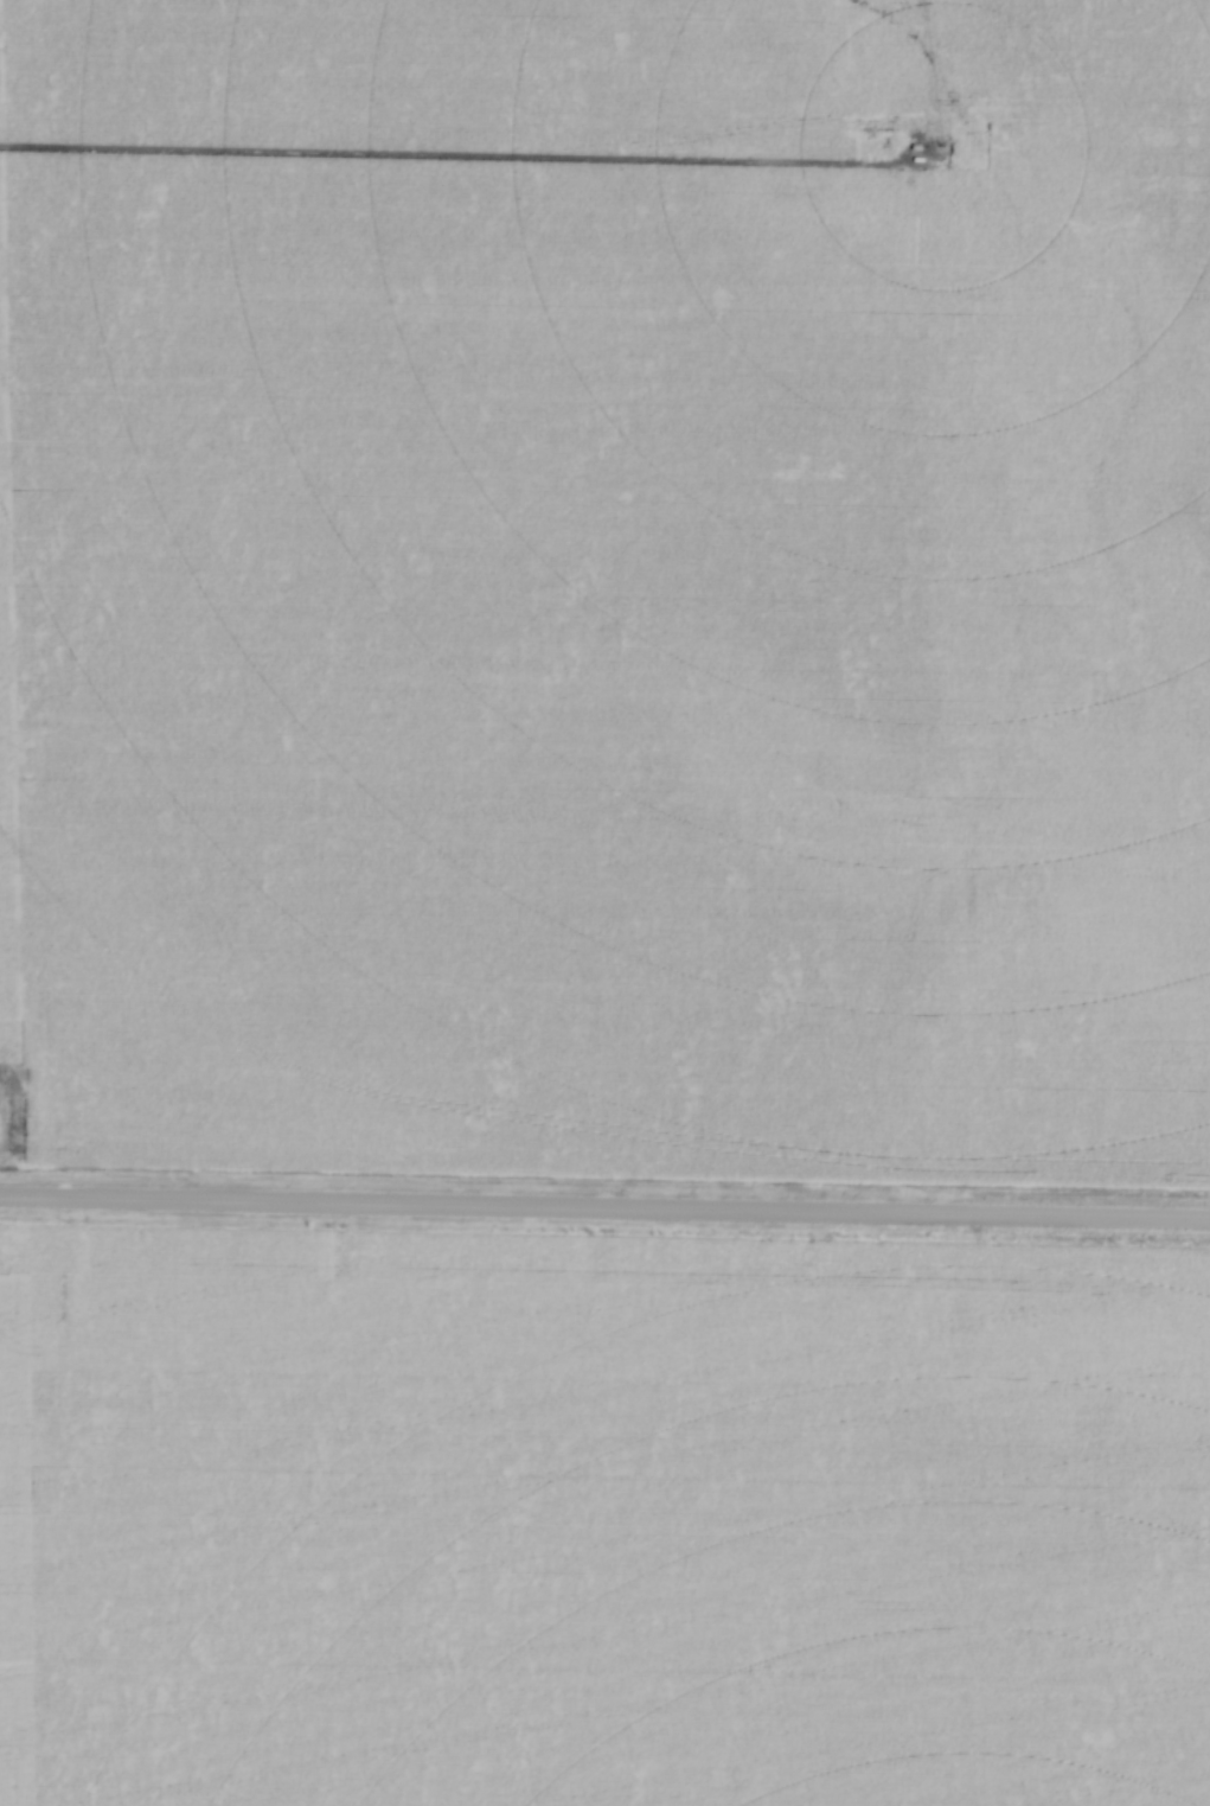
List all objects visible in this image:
road: (604, 1215)

